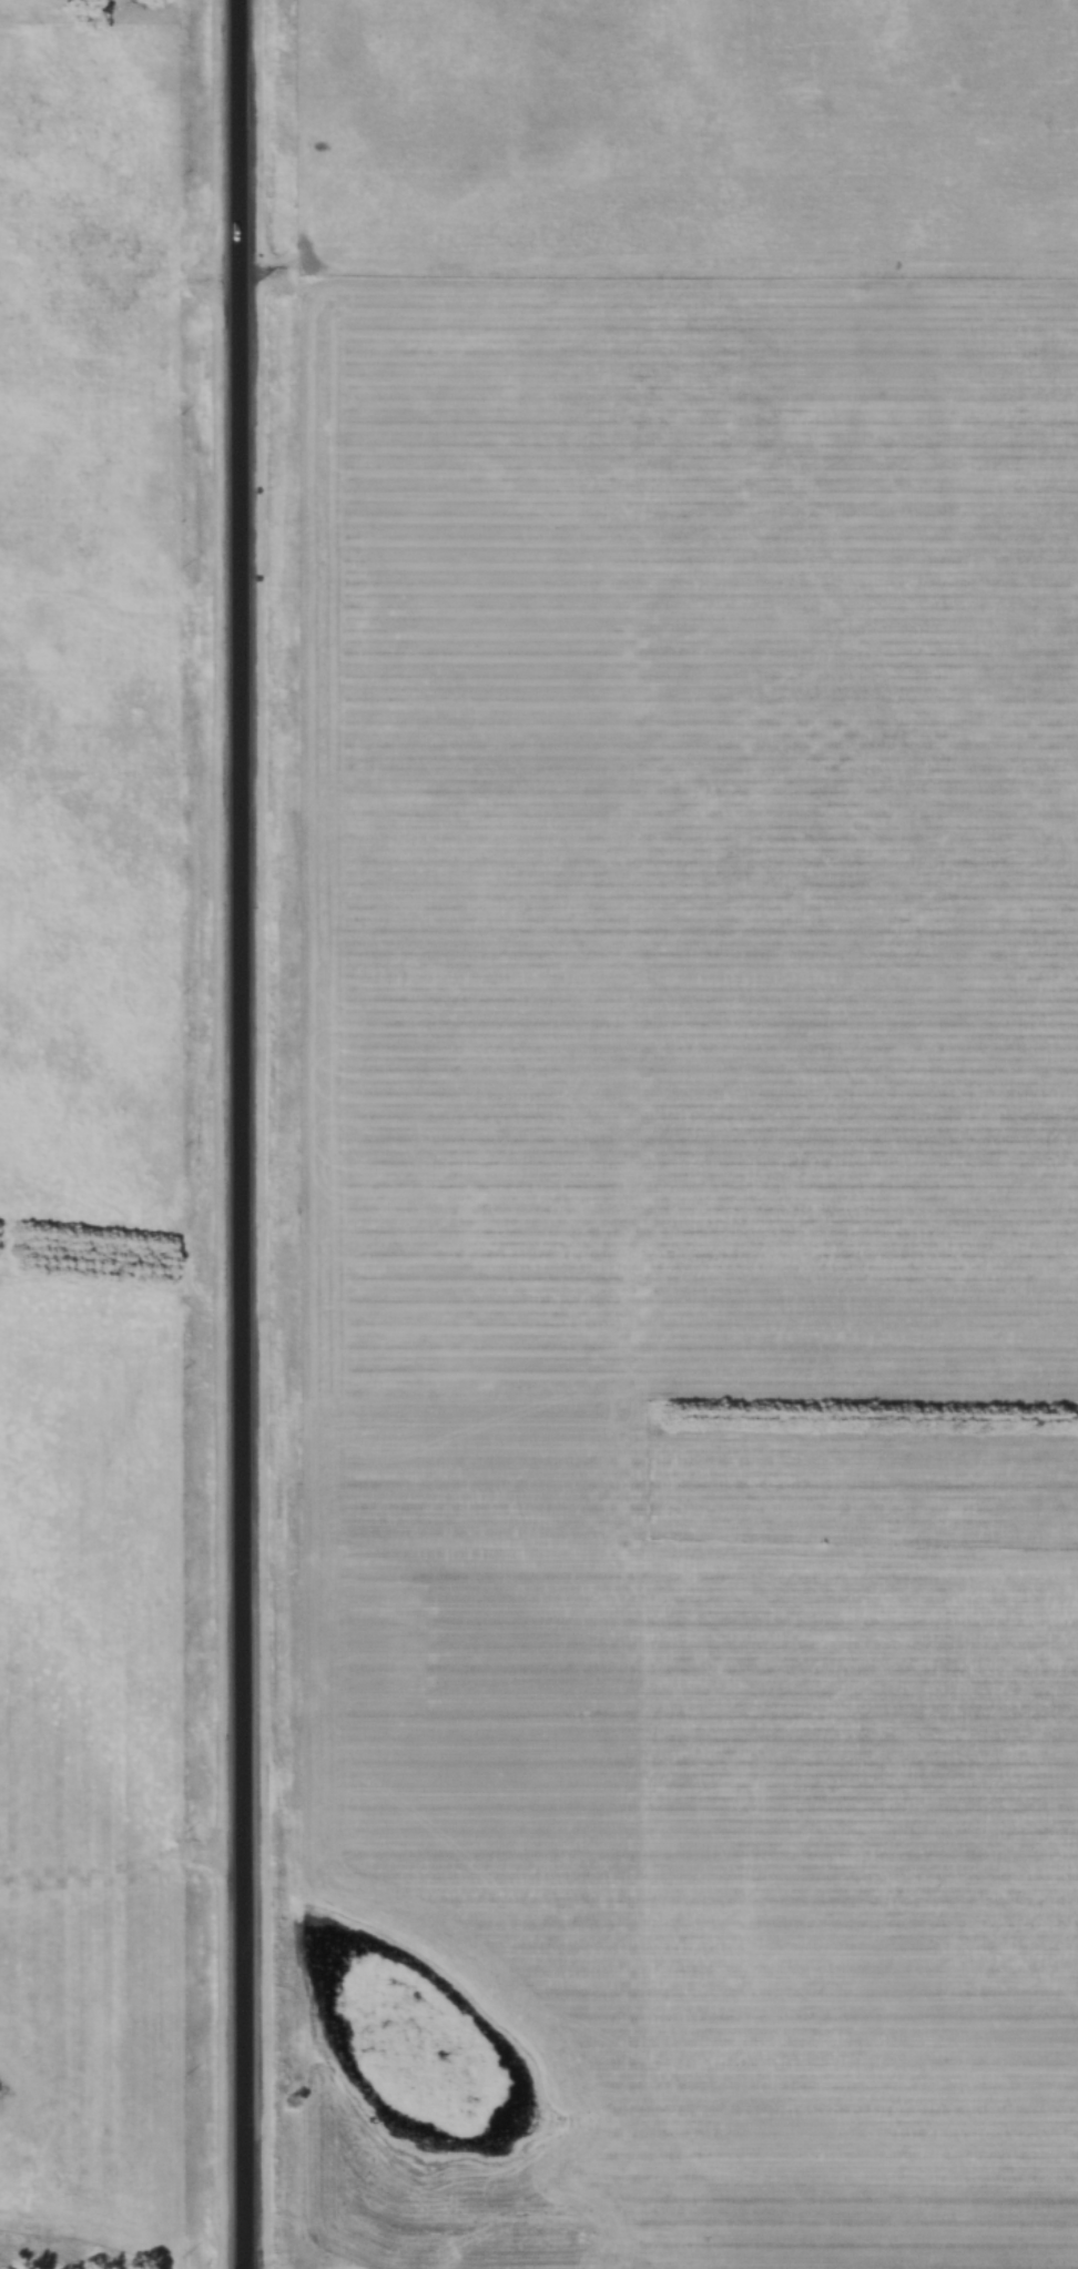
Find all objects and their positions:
road: (238, 1134)

